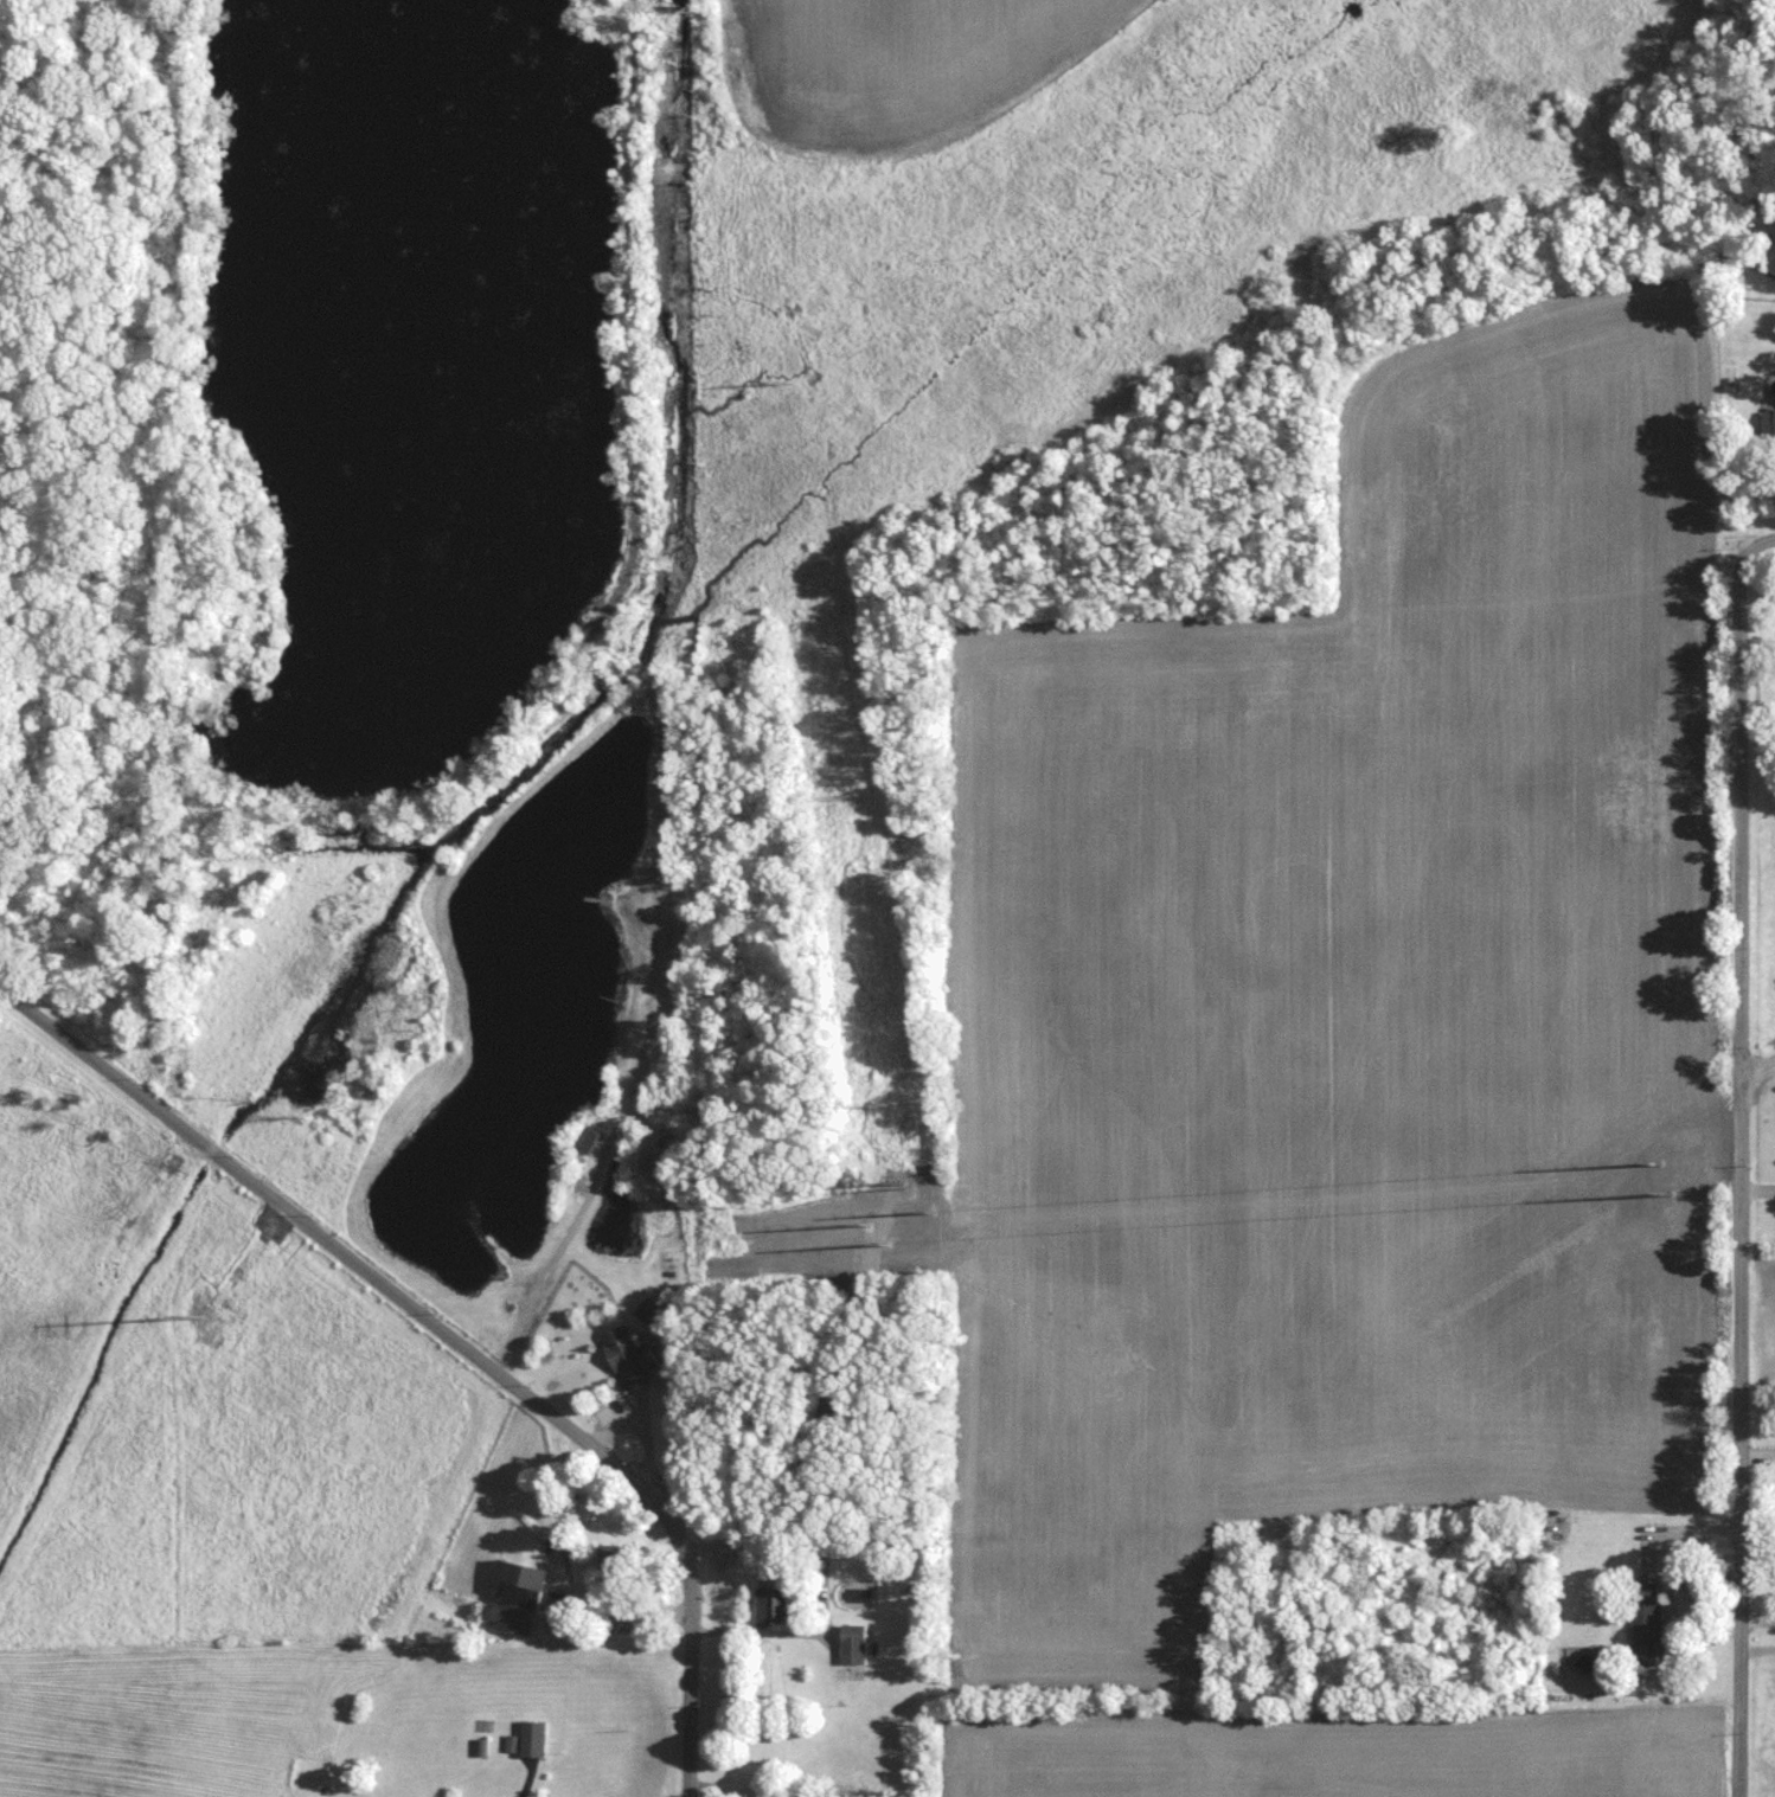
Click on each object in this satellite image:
building: (1768, 421)
quarry: (428, 610)
power tower: (842, 800)
power tower: (885, 1108)
building: (588, 1141)
road: (1739, 1160)
power tower: (1658, 1163)
power tower: (901, 1182)
power tower: (1668, 1195)
power tower: (933, 1212)
power tower: (869, 1226)
power tower: (886, 1245)
road: (352, 1260)
building: (666, 1264)
building: (652, 1313)
power tower: (200, 1317)
building: (628, 1356)
building: (617, 1559)
building: (517, 1599)
building: (773, 1605)
building: (1643, 1623)
building: (853, 1645)
road: (692, 1674)
building: (530, 1739)

